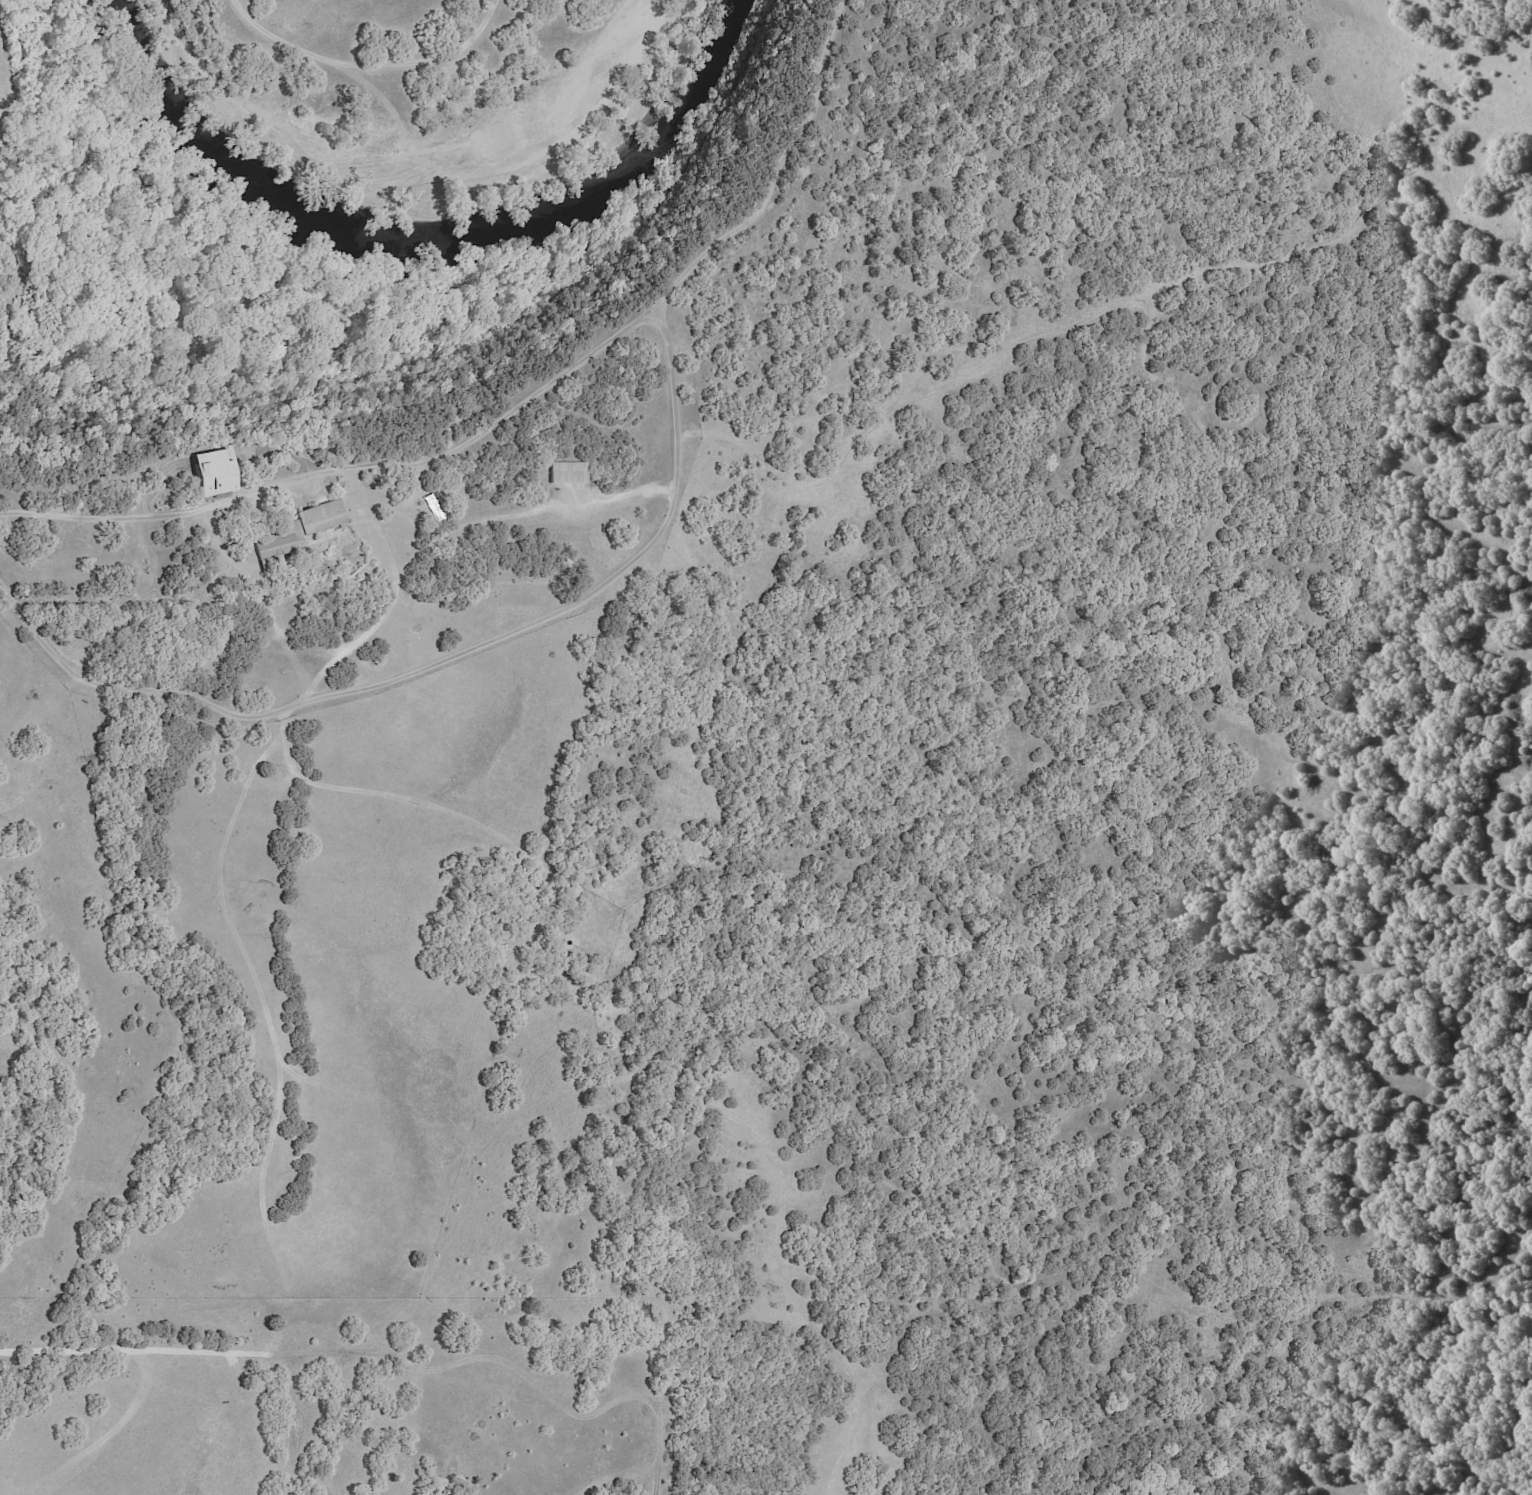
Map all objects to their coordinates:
road: (387, 455)
building: (295, 531)
road: (436, 661)

